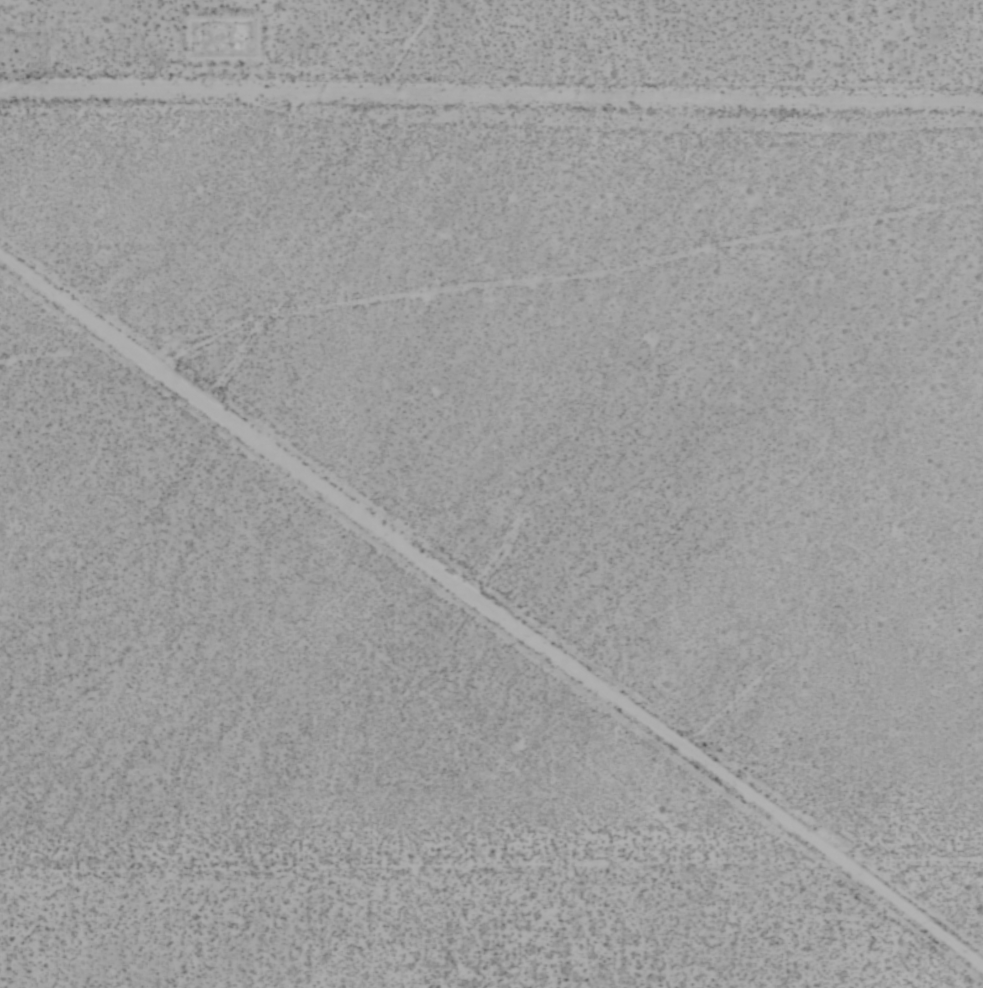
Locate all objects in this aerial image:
airport: (491, 494)

